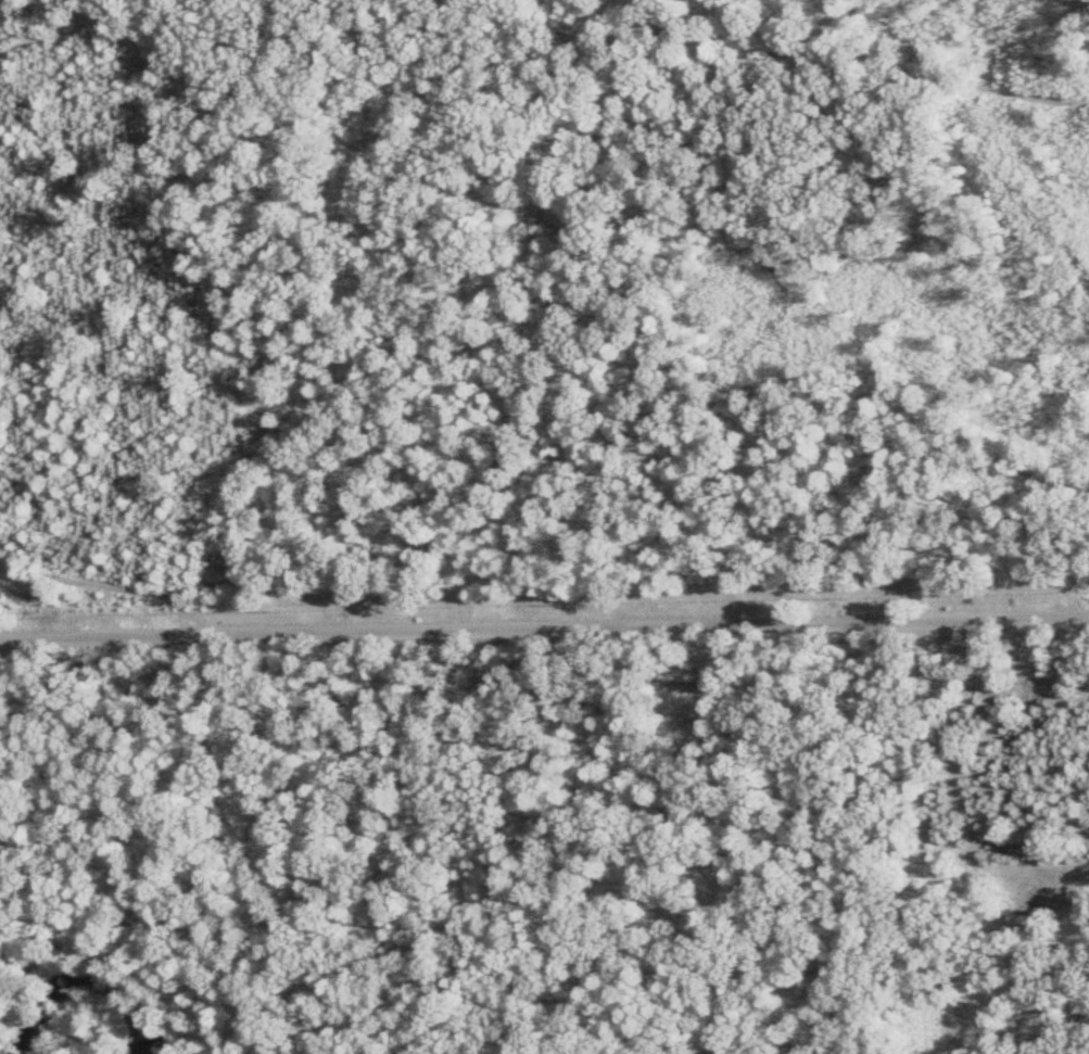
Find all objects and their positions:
road: (544, 624)
river: (86, 978)

